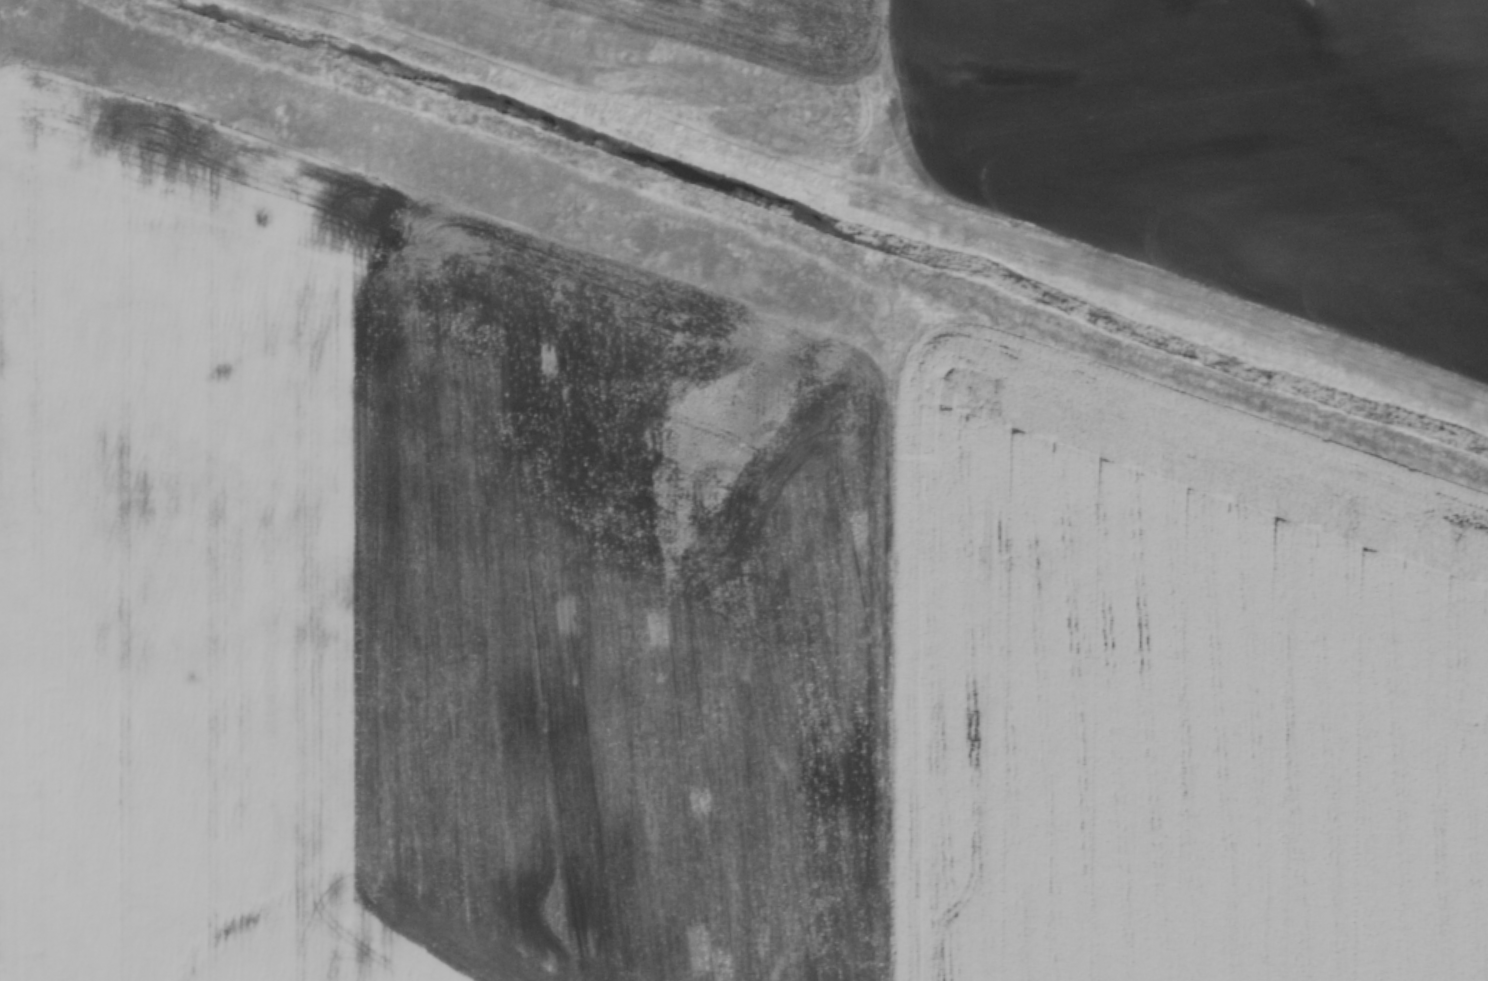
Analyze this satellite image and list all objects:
river: (676, 108)
river: (1385, 115)

